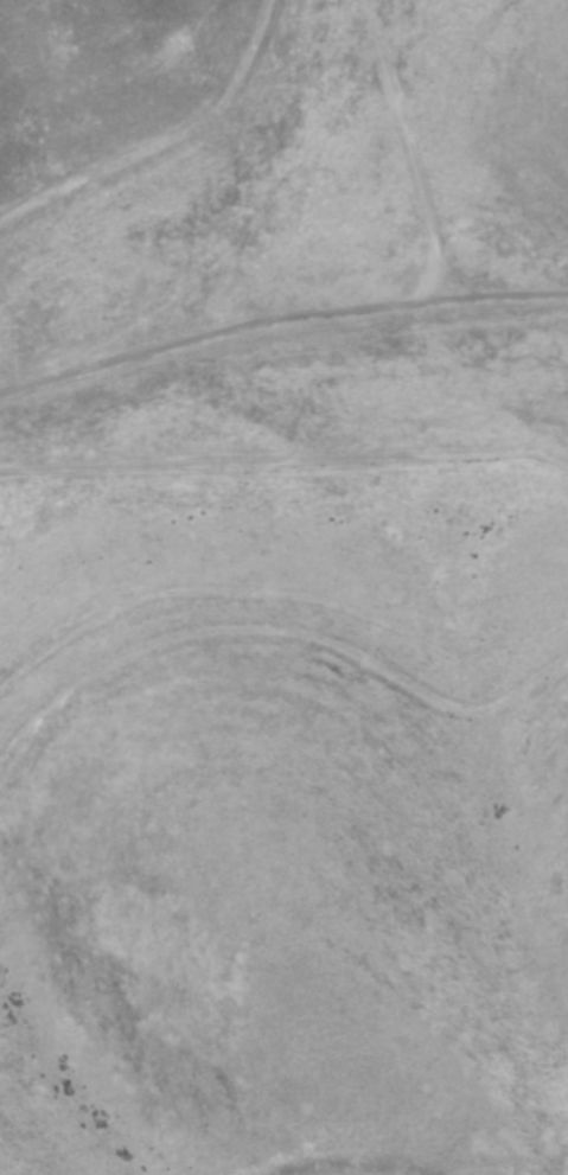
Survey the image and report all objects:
road: (368, 319)

